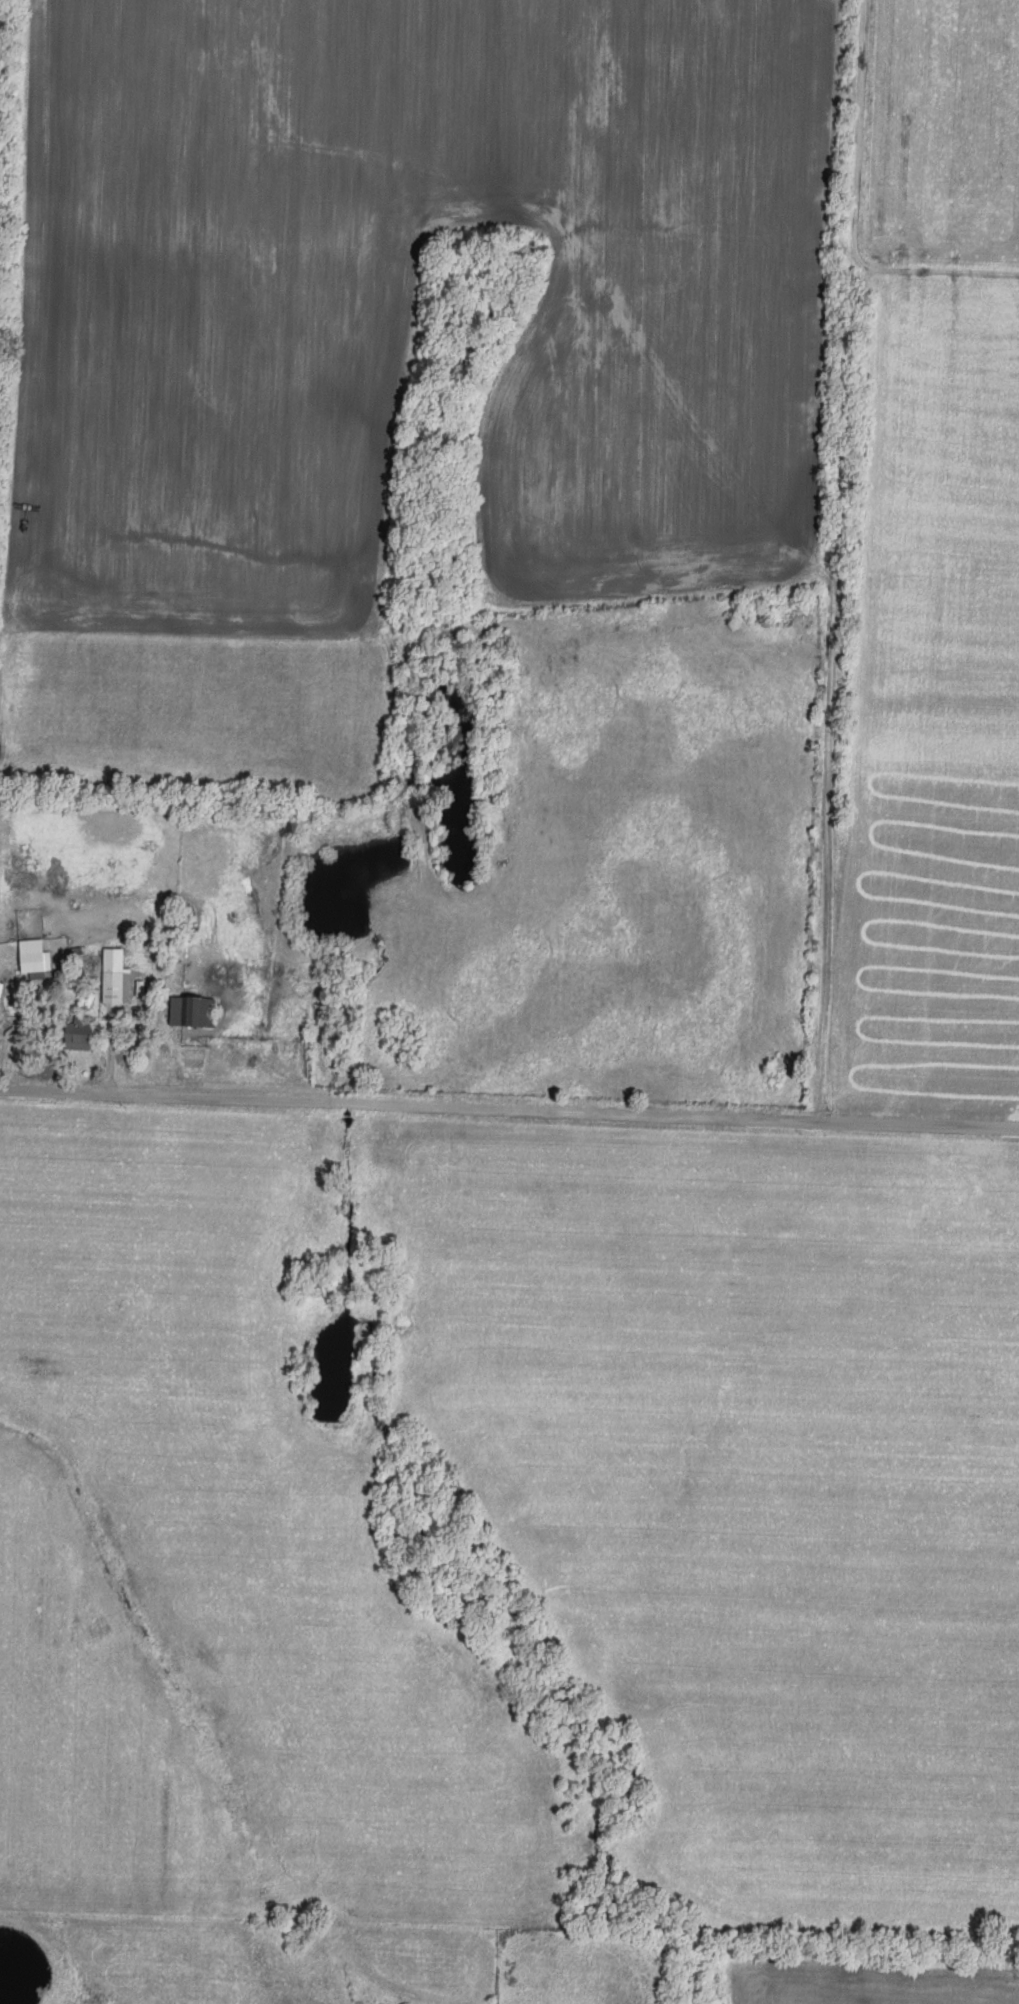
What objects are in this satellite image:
road: (840, 561)
building: (33, 956)
building: (114, 975)
building: (191, 1009)
road: (509, 1111)

